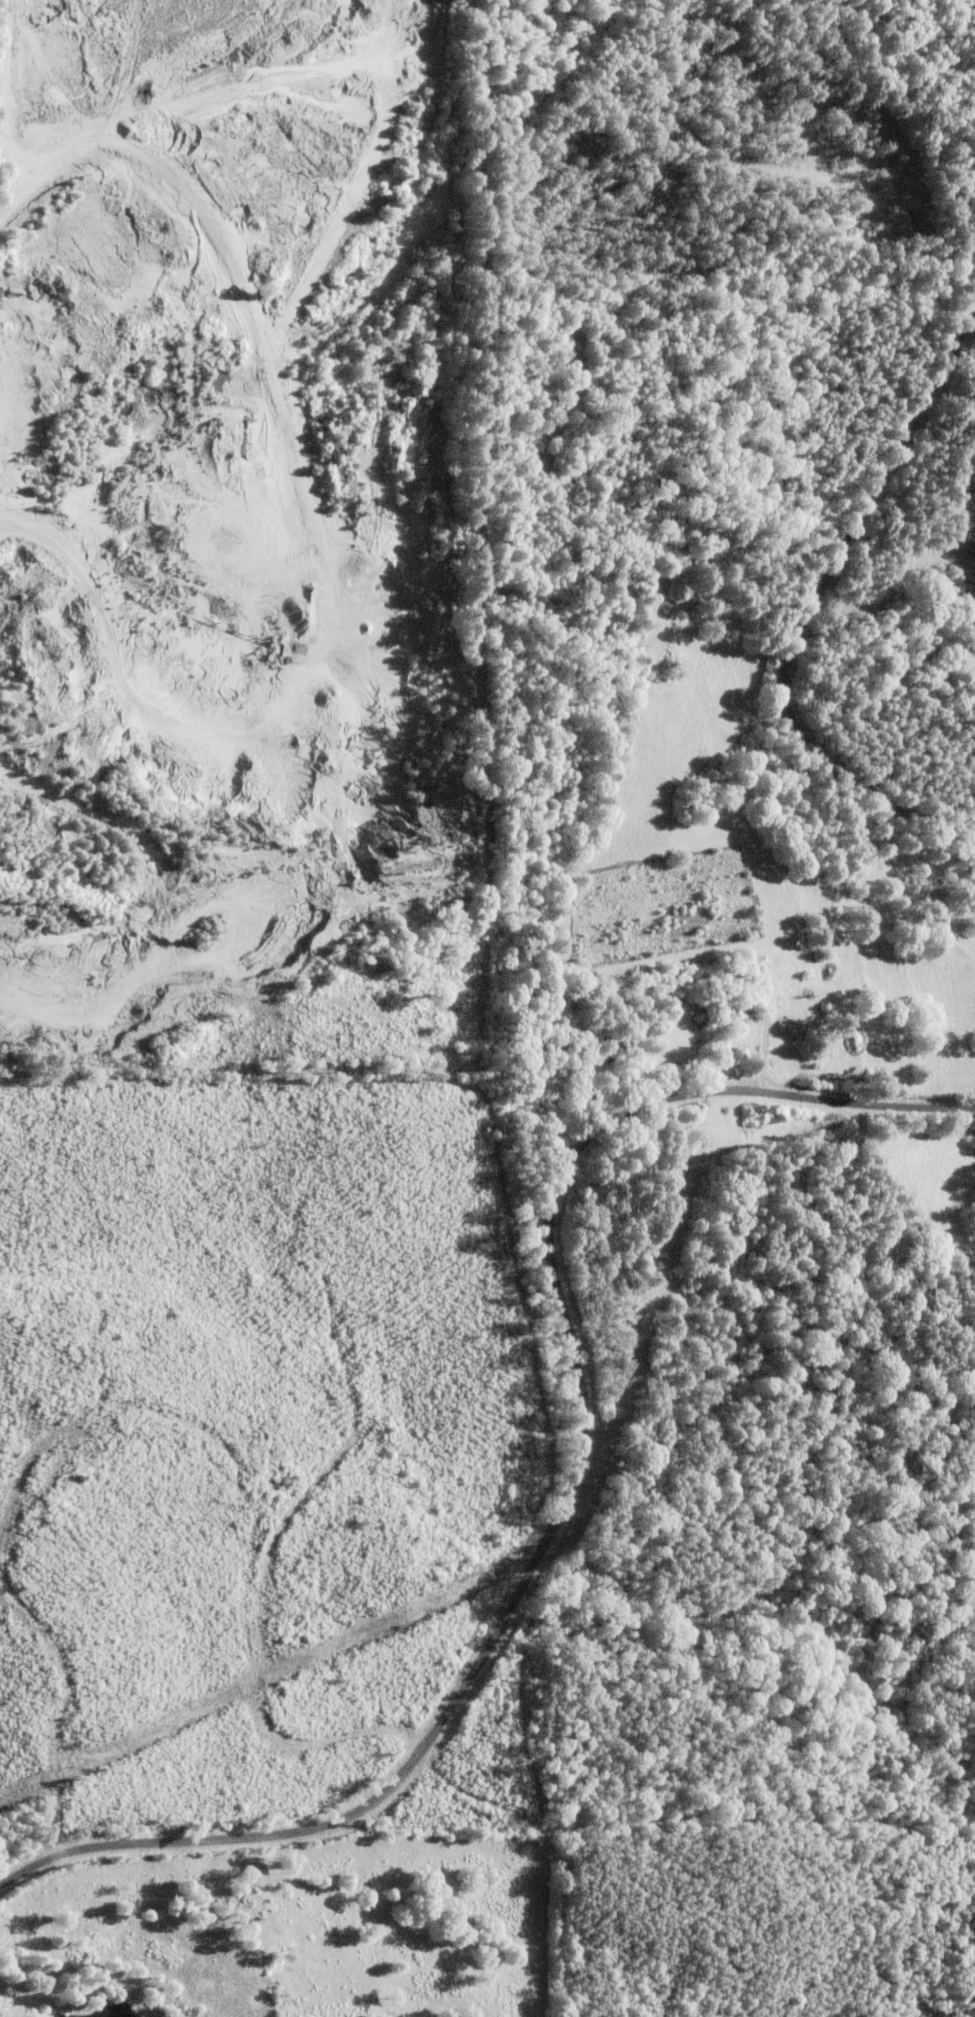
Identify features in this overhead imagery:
road: (819, 581)
building: (784, 1027)
road: (562, 1476)

